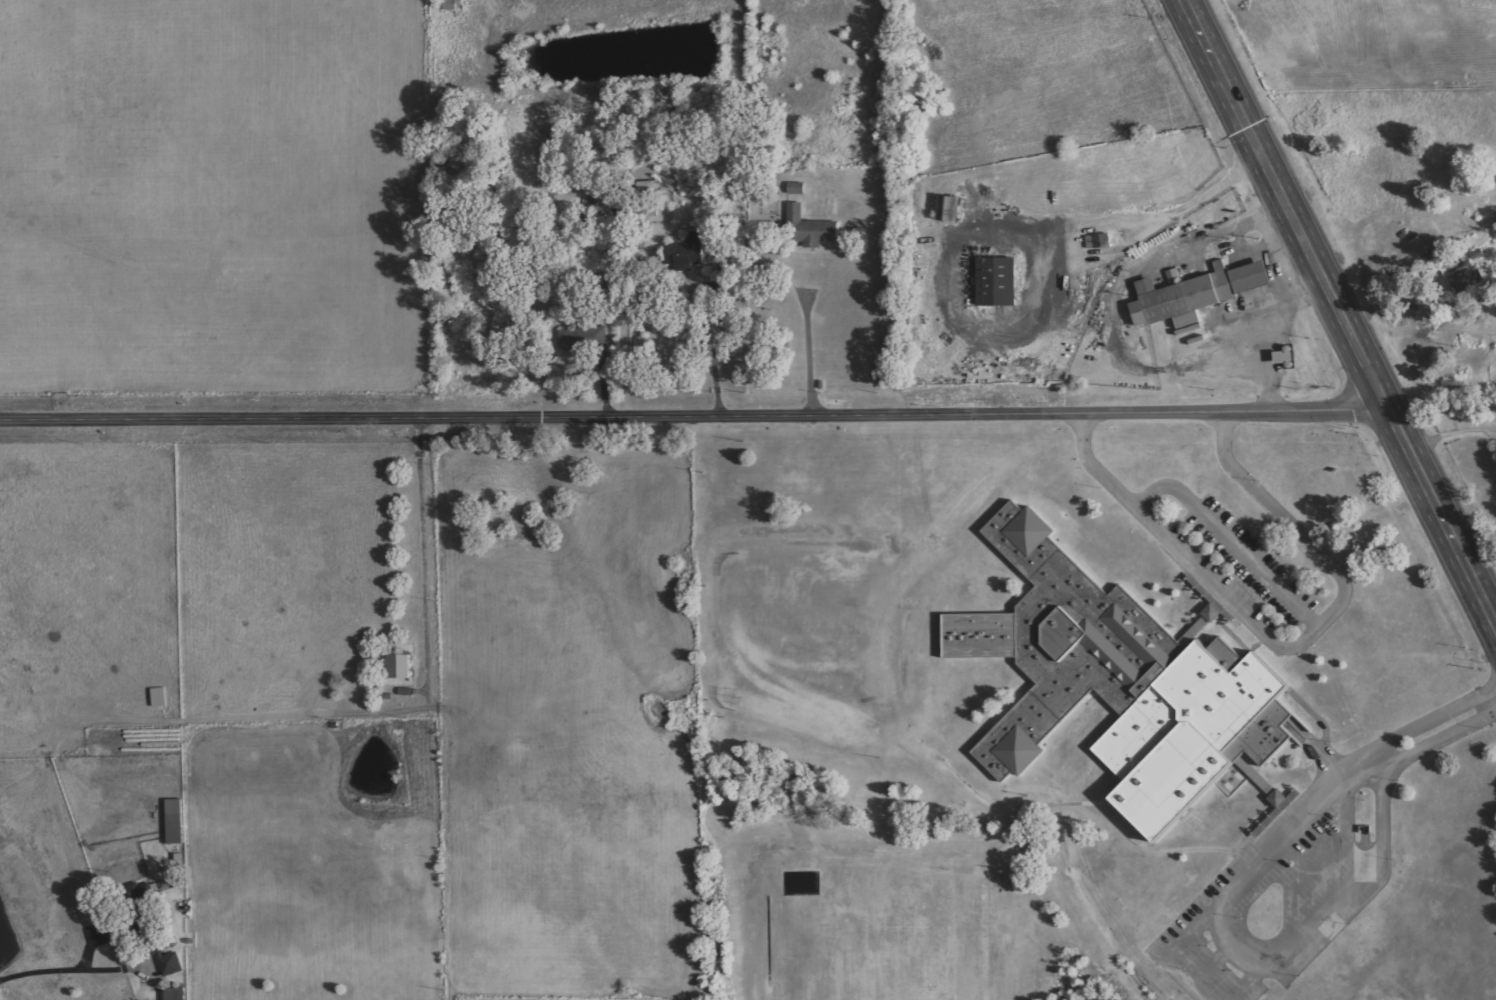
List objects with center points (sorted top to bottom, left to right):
building: (1016, 87)
building: (797, 188)
building: (949, 208)
building: (814, 239)
building: (1098, 241)
building: (688, 251)
building: (1467, 281)
building: (998, 282)
building: (1197, 294)
road: (1335, 316)
building: (568, 339)
road: (689, 413)
road: (1230, 541)
road: (1281, 648)
building: (399, 667)
building: (1126, 686)
building: (159, 697)
road: (1339, 775)
building: (1280, 799)
building: (174, 821)
road: (1383, 825)
road: (1327, 860)
road: (1245, 935)
road: (1171, 955)
road: (1217, 962)
building: (172, 965)
road: (61, 974)
road: (1256, 978)
building: (174, 994)

